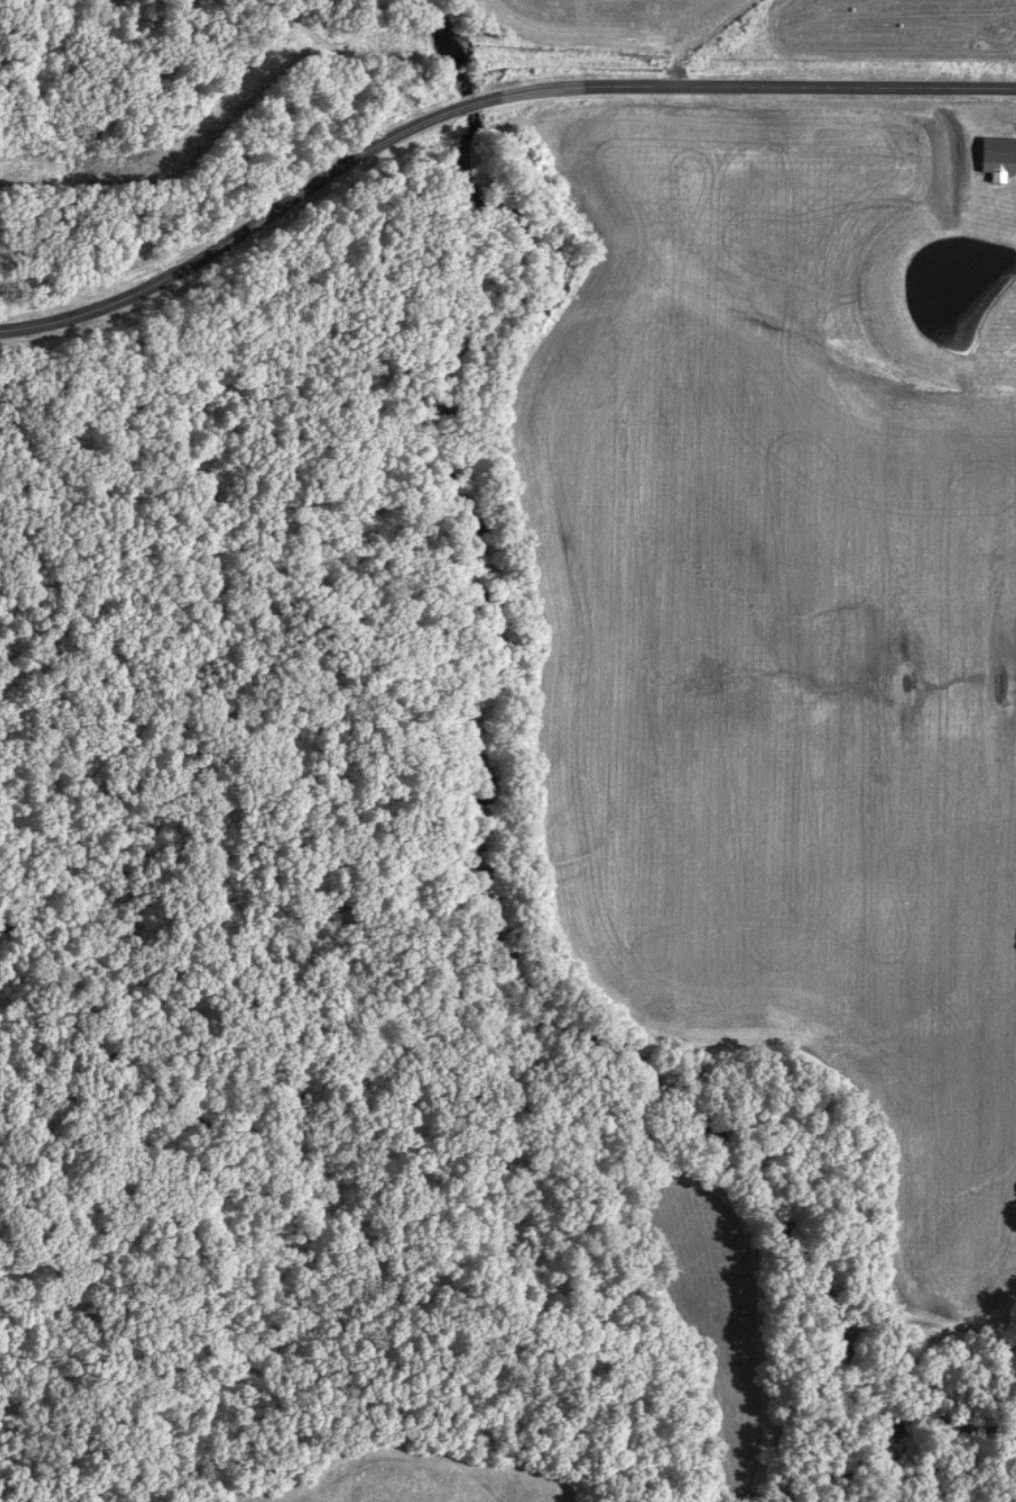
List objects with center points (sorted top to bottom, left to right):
road: (479, 101)
building: (997, 150)

